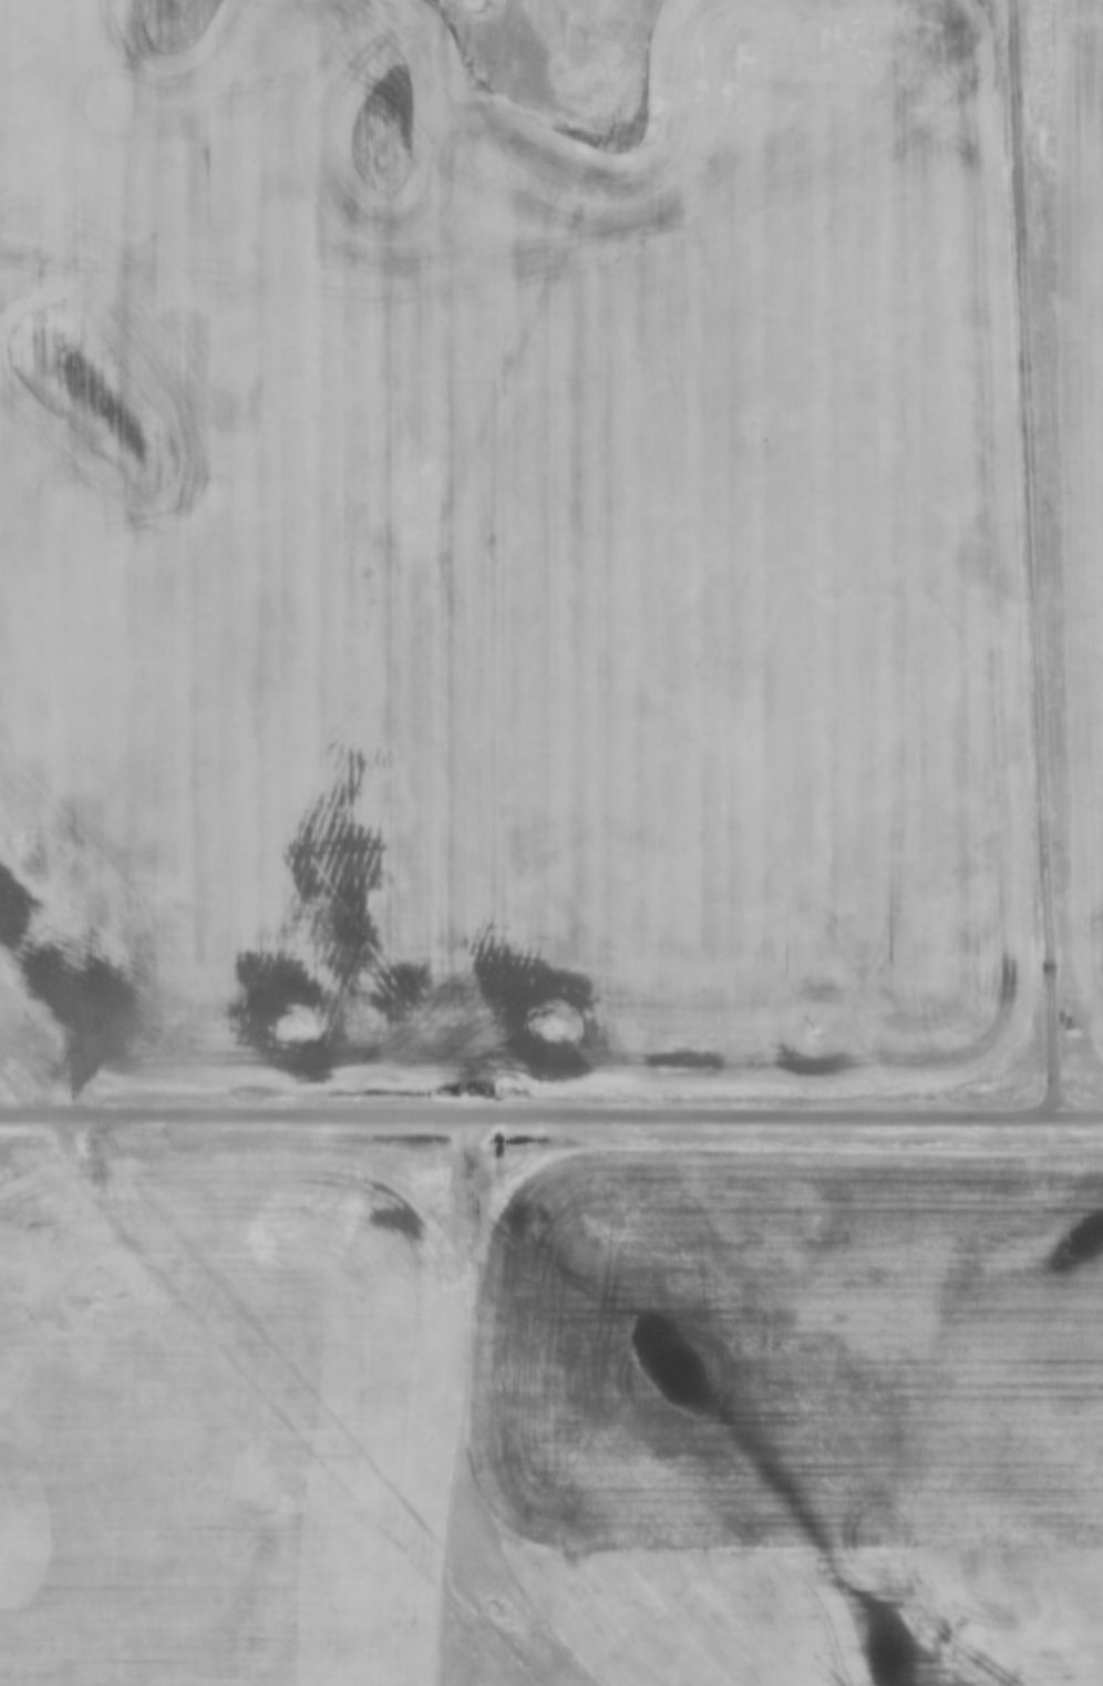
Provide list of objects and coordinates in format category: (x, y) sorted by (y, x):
road: (1033, 555)
road: (550, 1112)

